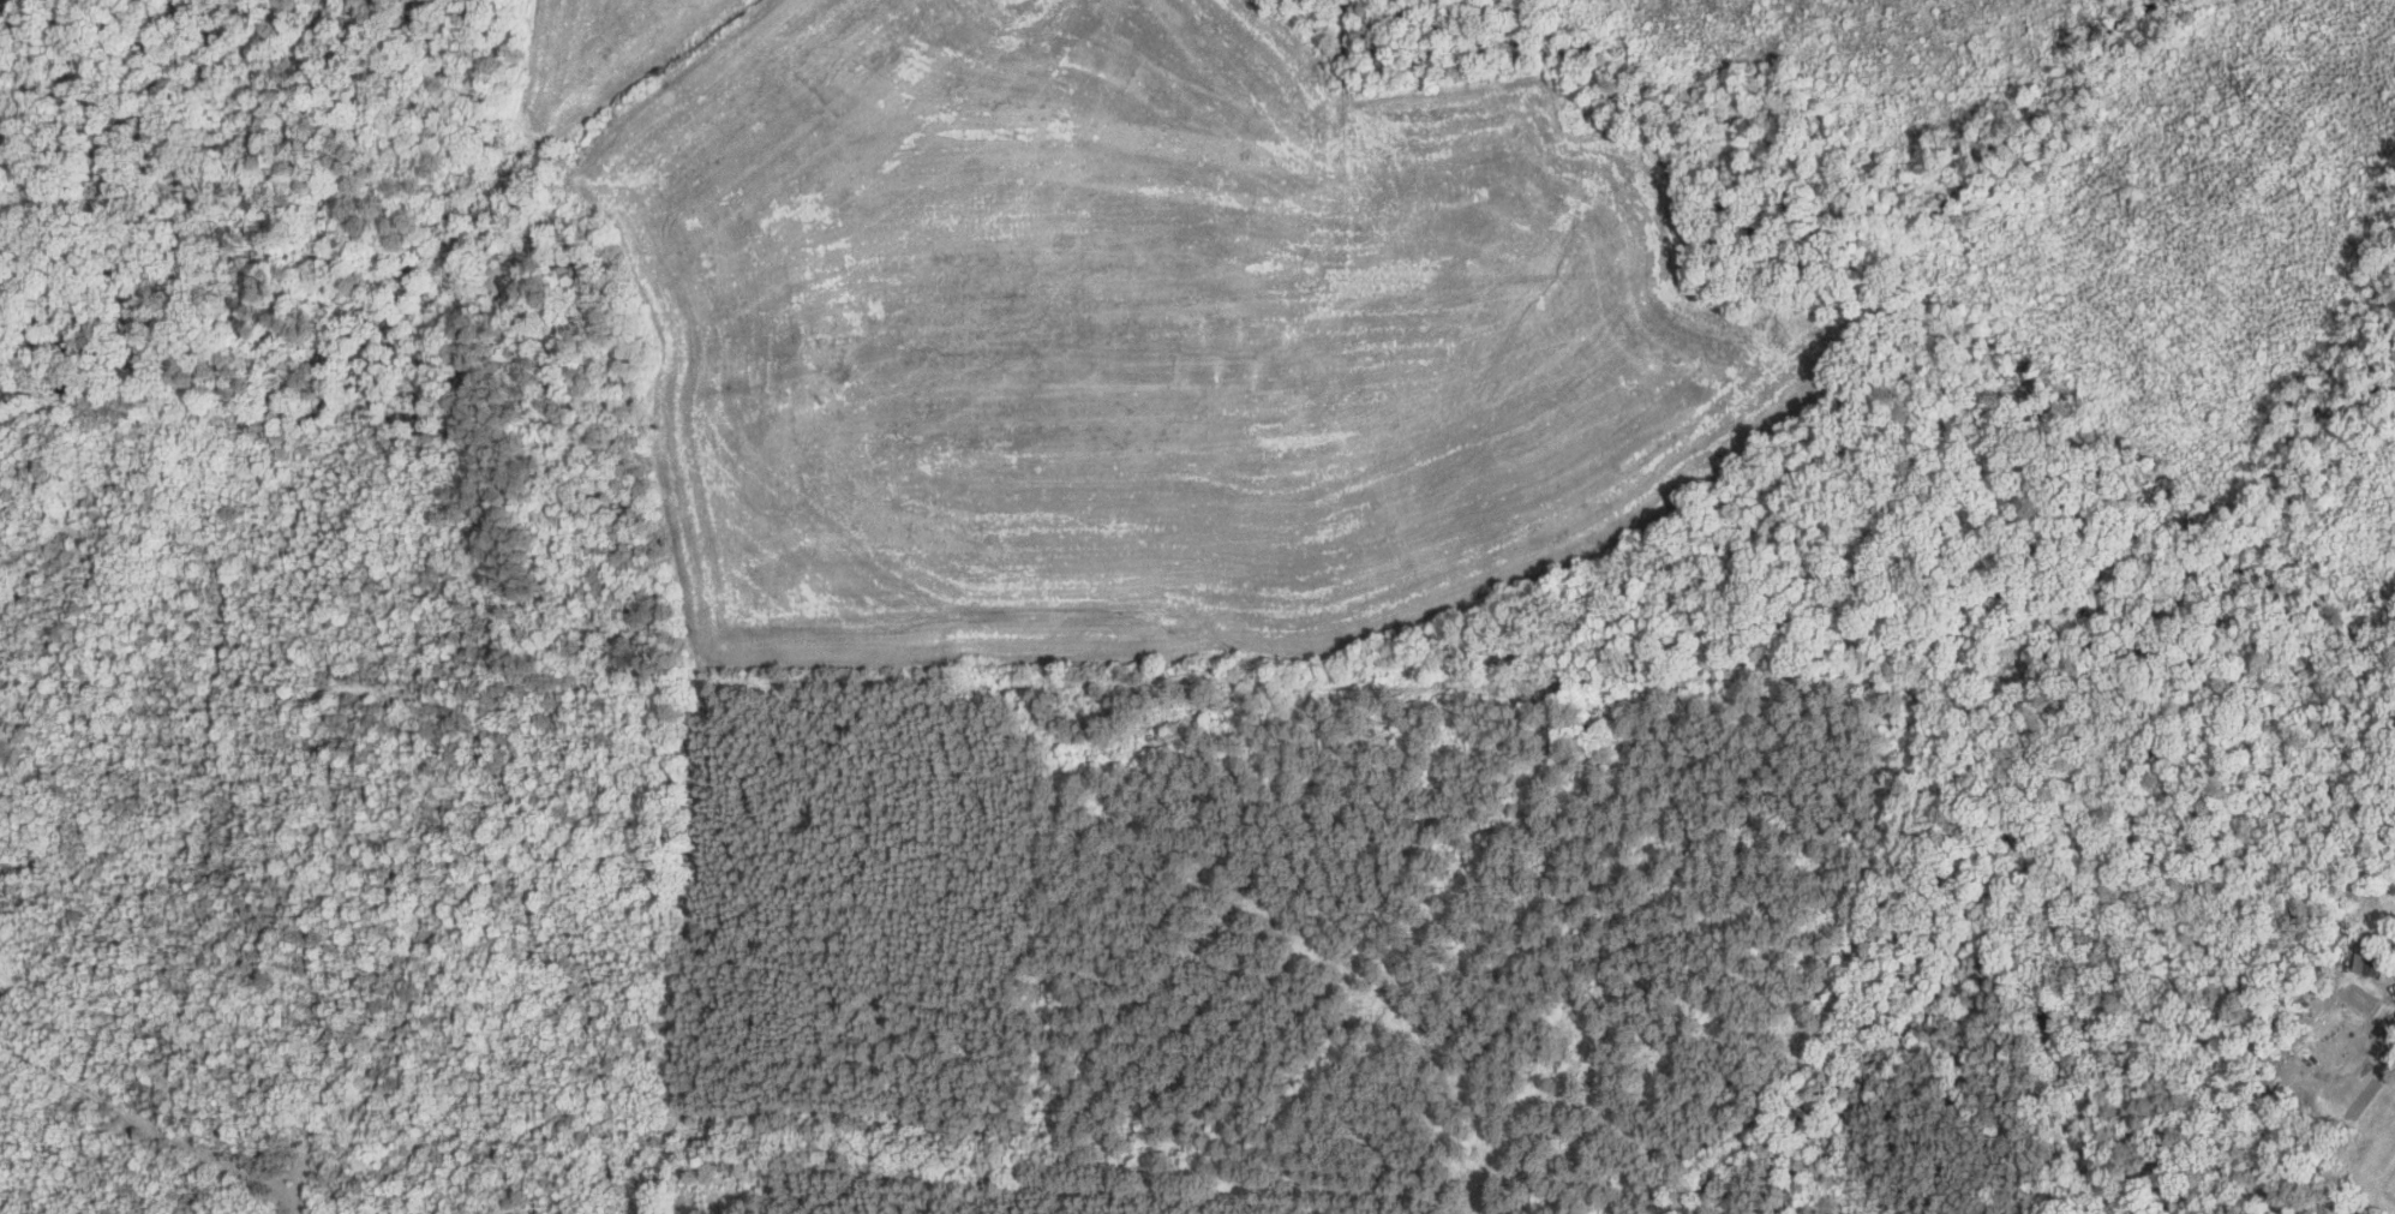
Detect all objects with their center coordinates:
building: (2364, 962)

